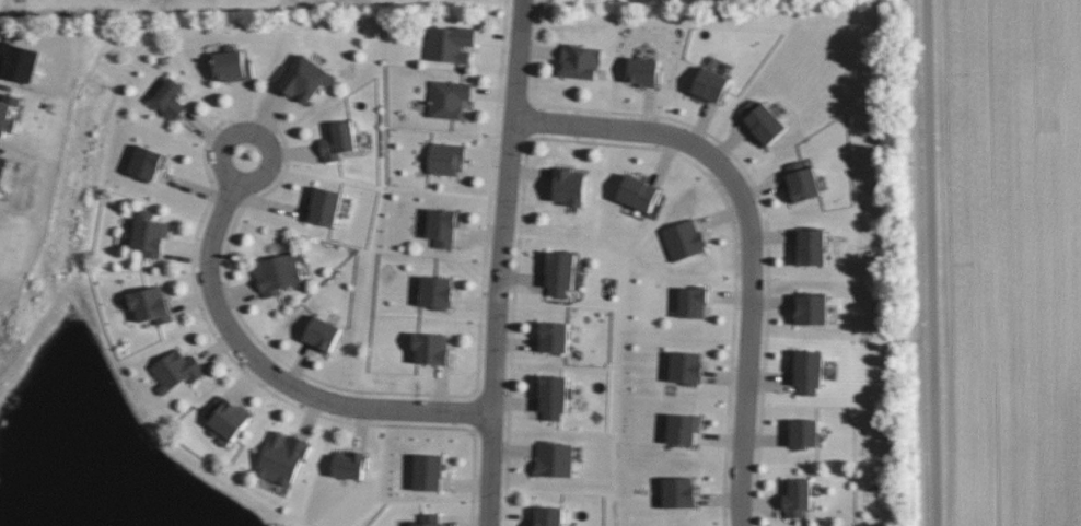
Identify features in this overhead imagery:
road: (519, 20)
building: (451, 43)
building: (580, 61)
building: (232, 65)
building: (643, 71)
building: (304, 79)
building: (710, 85)
building: (171, 97)
building: (449, 98)
building: (8, 113)
building: (763, 121)
building: (338, 140)
building: (446, 157)
building: (148, 162)
building: (801, 182)
building: (570, 186)
building: (639, 192)
building: (325, 206)
building: (443, 225)
road: (751, 232)
building: (149, 233)
building: (684, 238)
building: (811, 246)
road: (928, 262)
building: (560, 271)
building: (278, 272)
road: (499, 282)
building: (437, 291)
building: (693, 301)
building: (152, 304)
building: (811, 308)
building: (323, 334)
building: (554, 336)
building: (432, 348)
building: (686, 367)
building: (176, 370)
building: (807, 370)
road: (267, 373)
building: (554, 395)
building: (226, 419)
building: (683, 428)
building: (805, 433)
building: (281, 456)
building: (554, 458)
building: (349, 464)
building: (429, 471)
building: (678, 491)
building: (797, 496)
building: (548, 516)
building: (428, 519)

